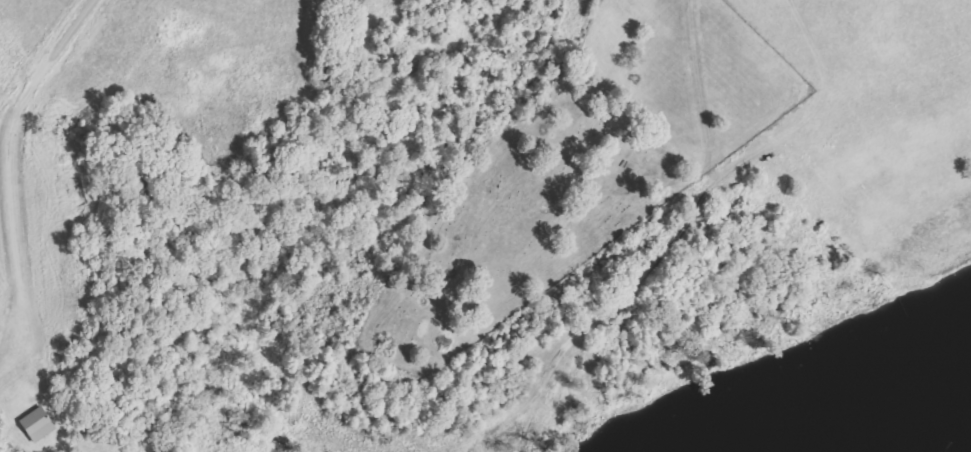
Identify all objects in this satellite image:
park: (552, 180)

